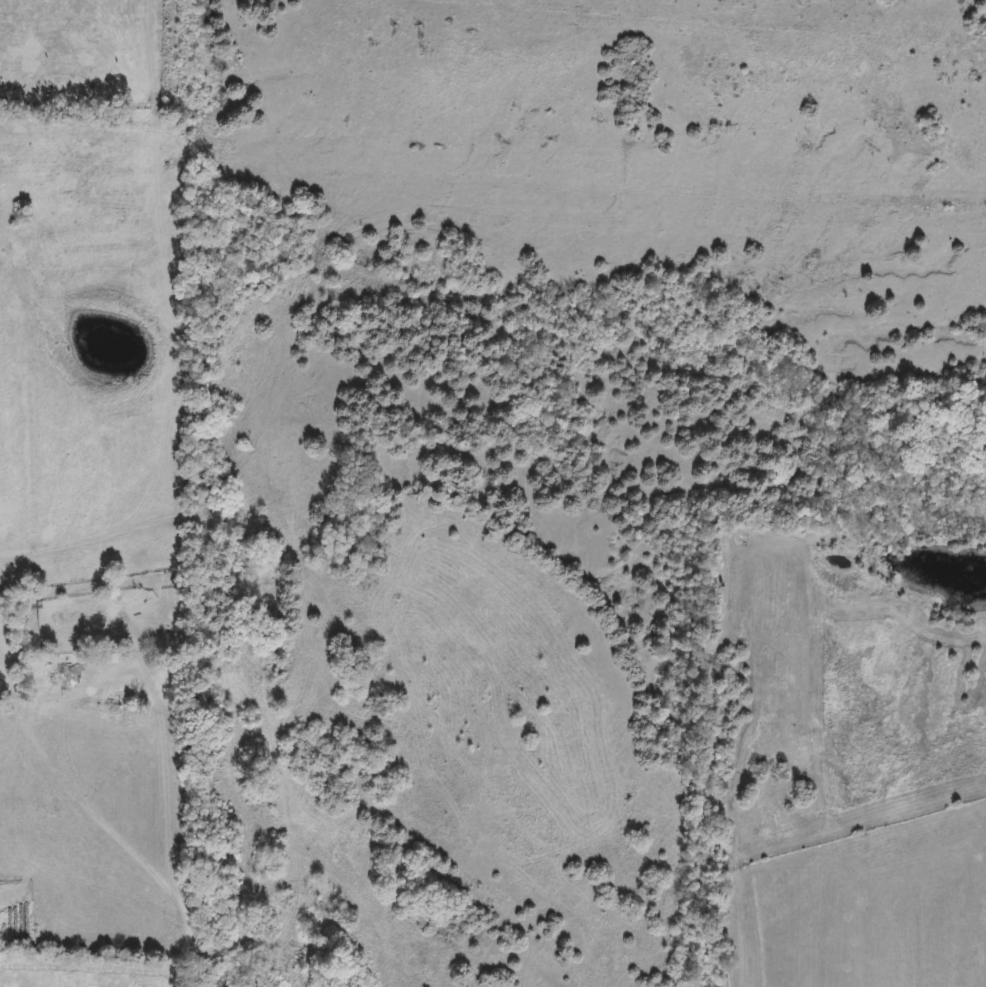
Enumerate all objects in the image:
building: (68, 675)
road: (165, 803)

